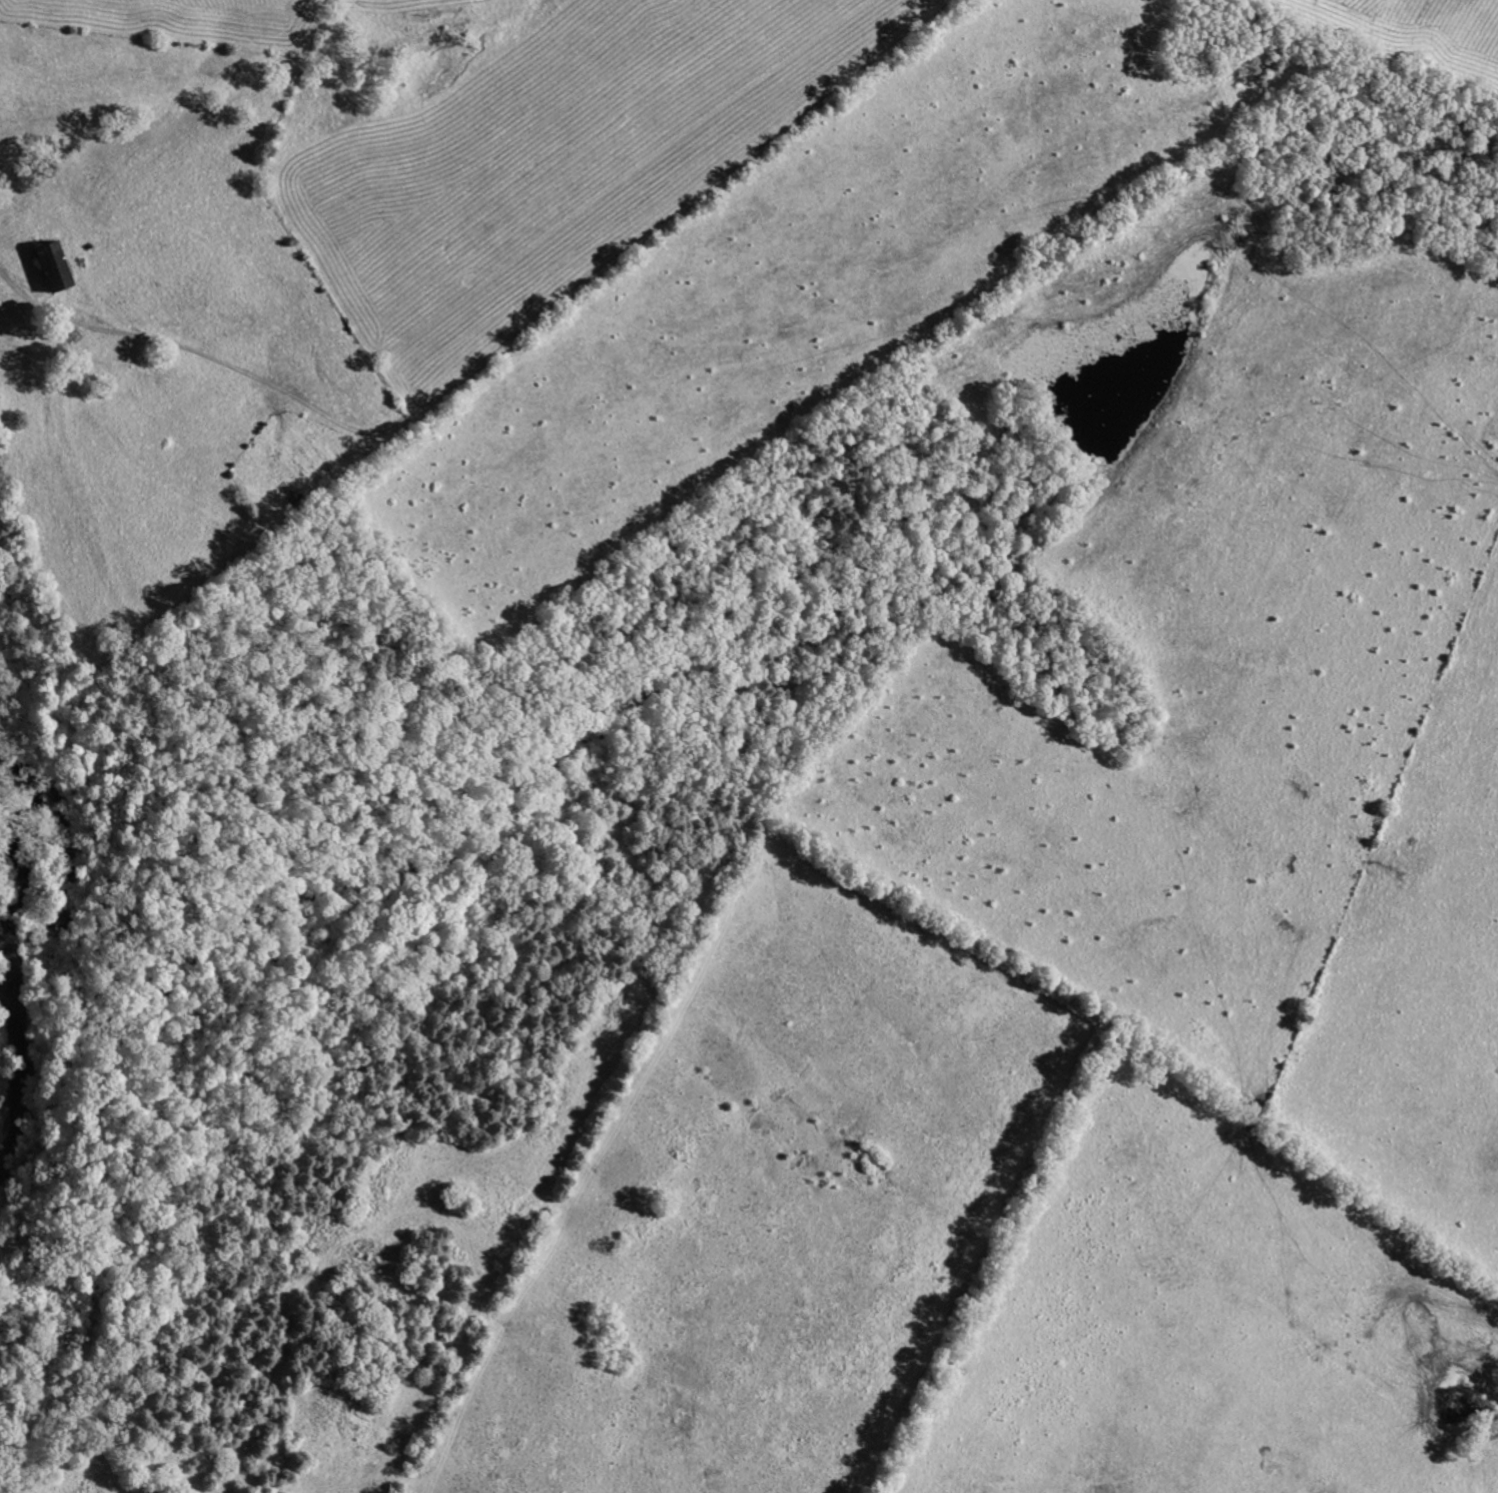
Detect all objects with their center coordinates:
building: (51, 266)
river: (12, 983)

